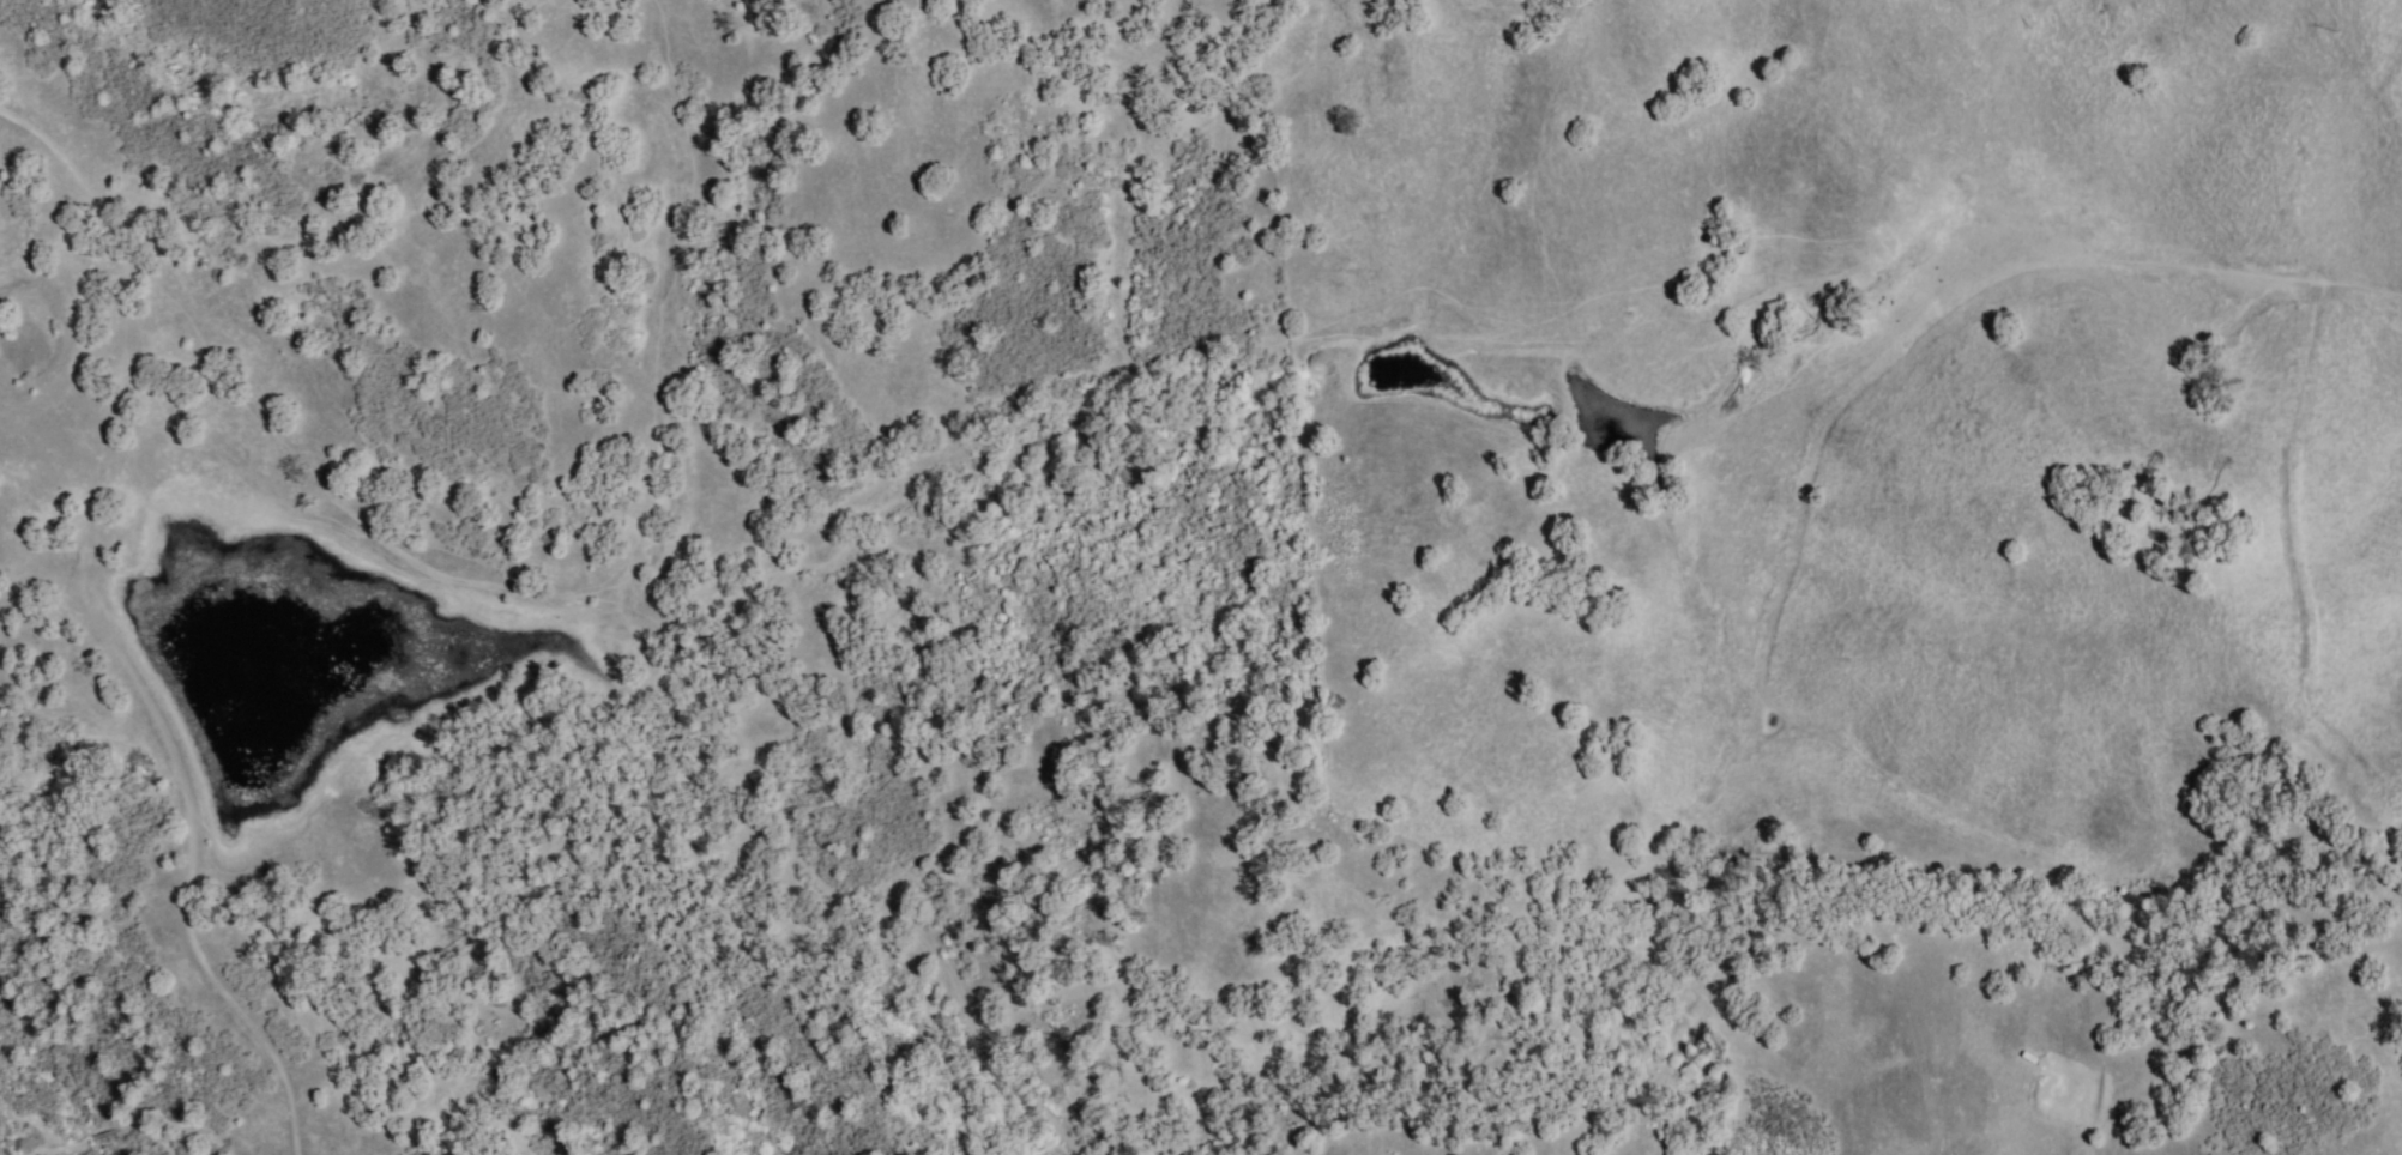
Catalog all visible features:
building: (1294, 388)
road: (538, 605)
road: (139, 732)
road: (216, 1002)

